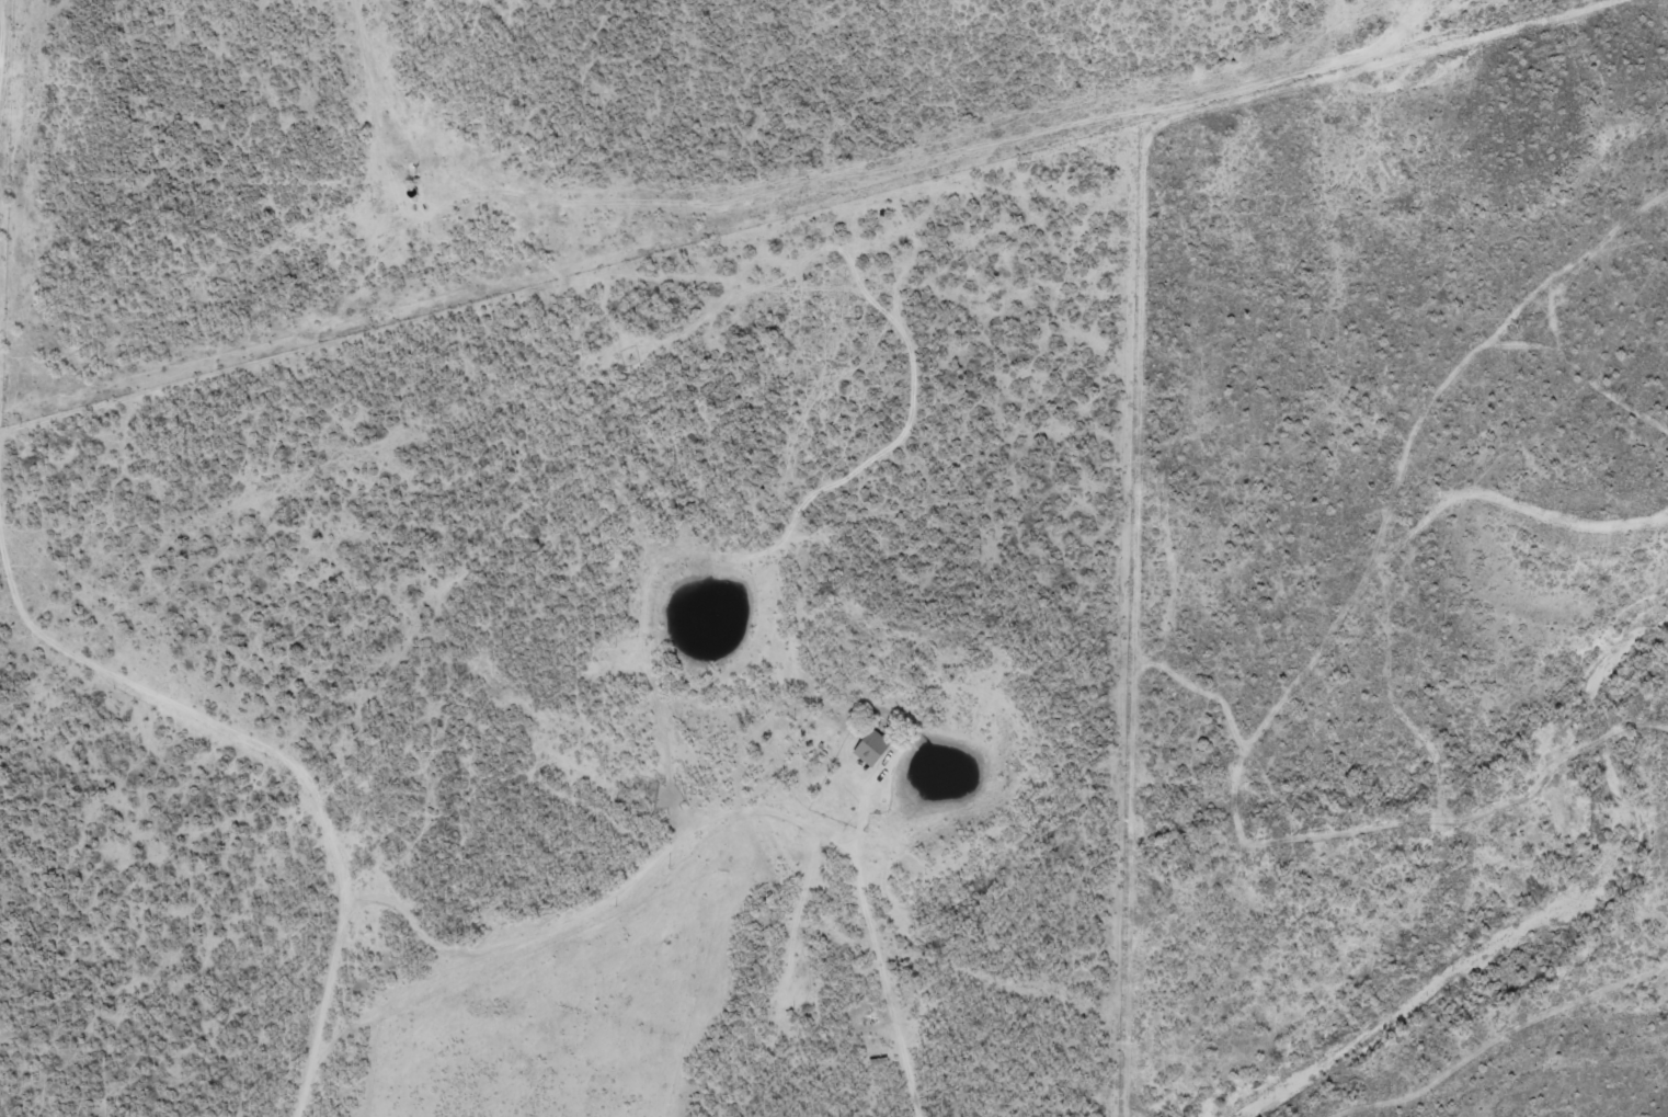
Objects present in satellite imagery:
road: (47, 115)
road: (964, 208)
building: (869, 748)
road: (423, 840)
road: (140, 907)

